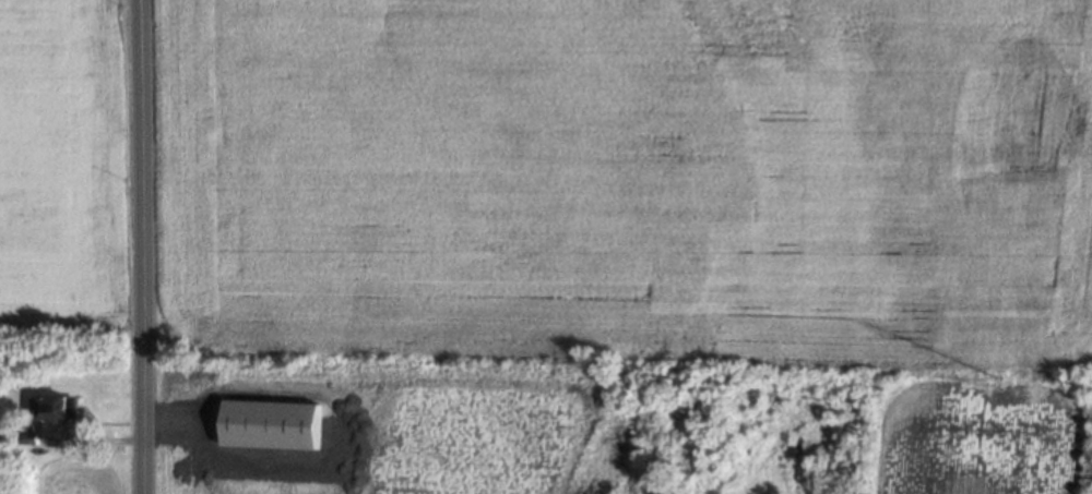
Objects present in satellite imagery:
crop: (64, 168)
road: (131, 246)
power tower: (990, 376)
building: (52, 405)
building: (271, 423)
building: (28, 436)

